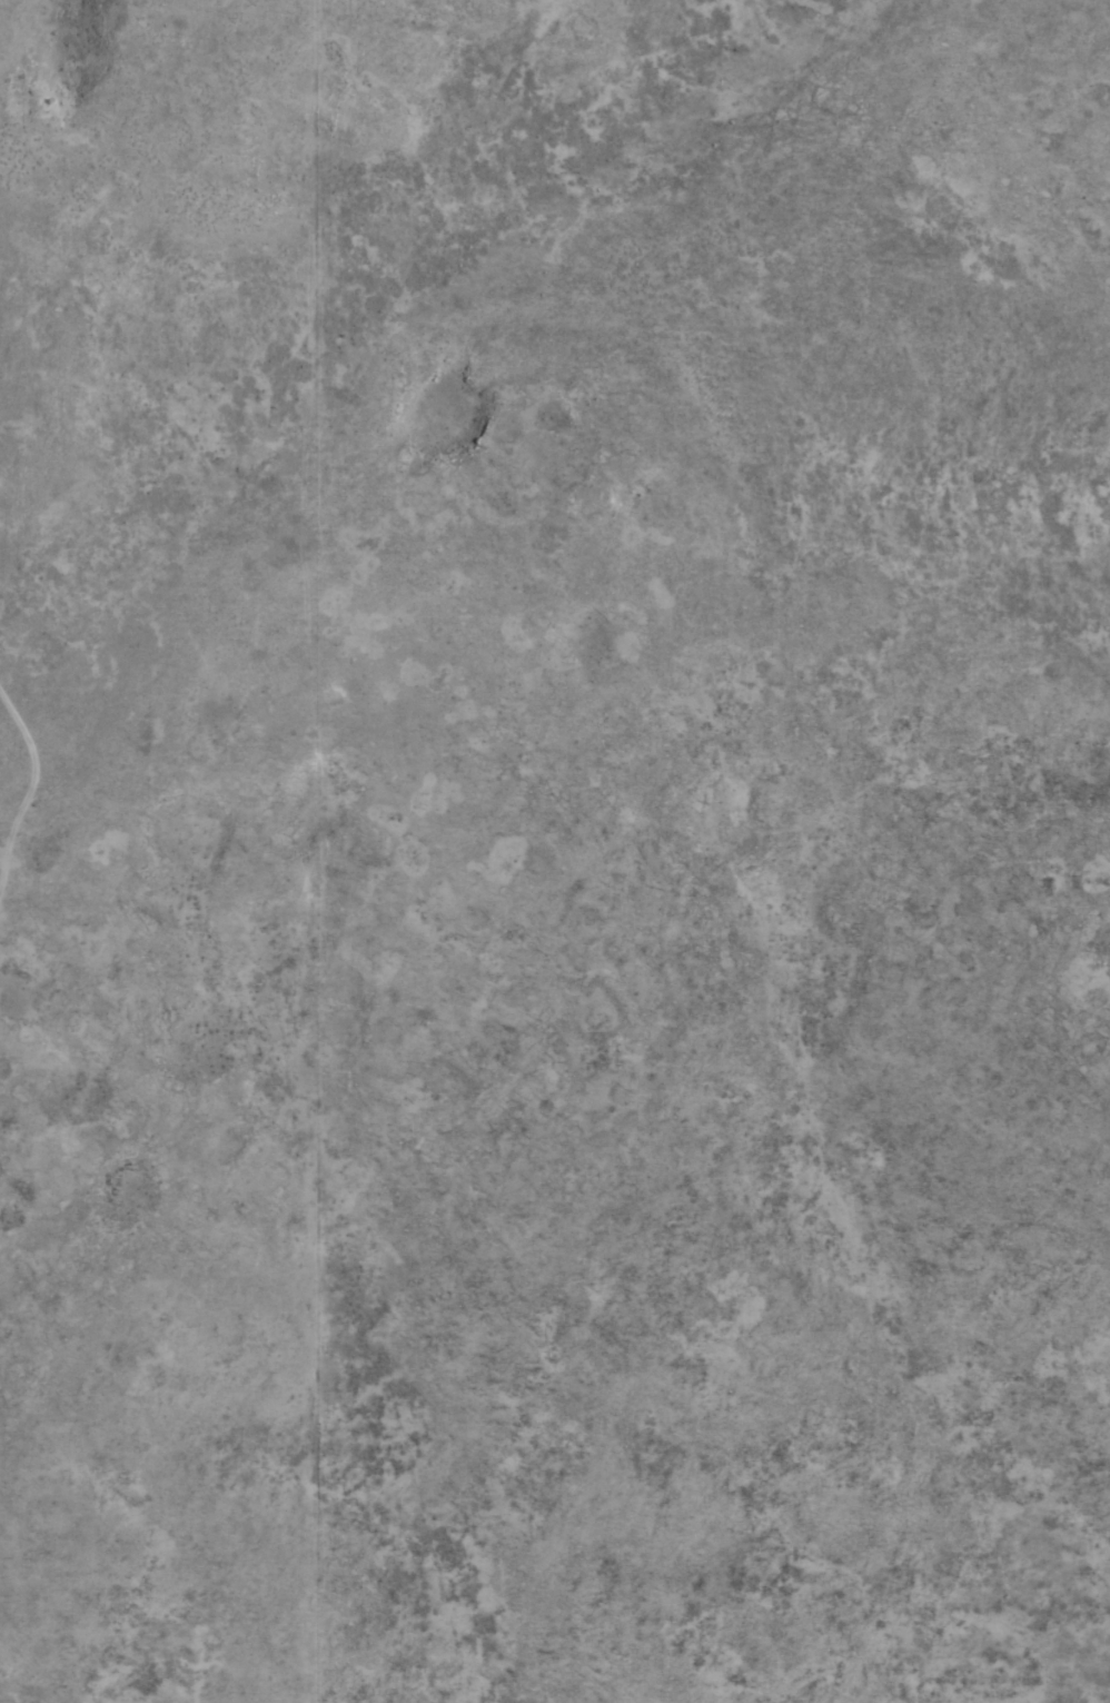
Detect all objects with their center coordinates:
road: (902, 159)

